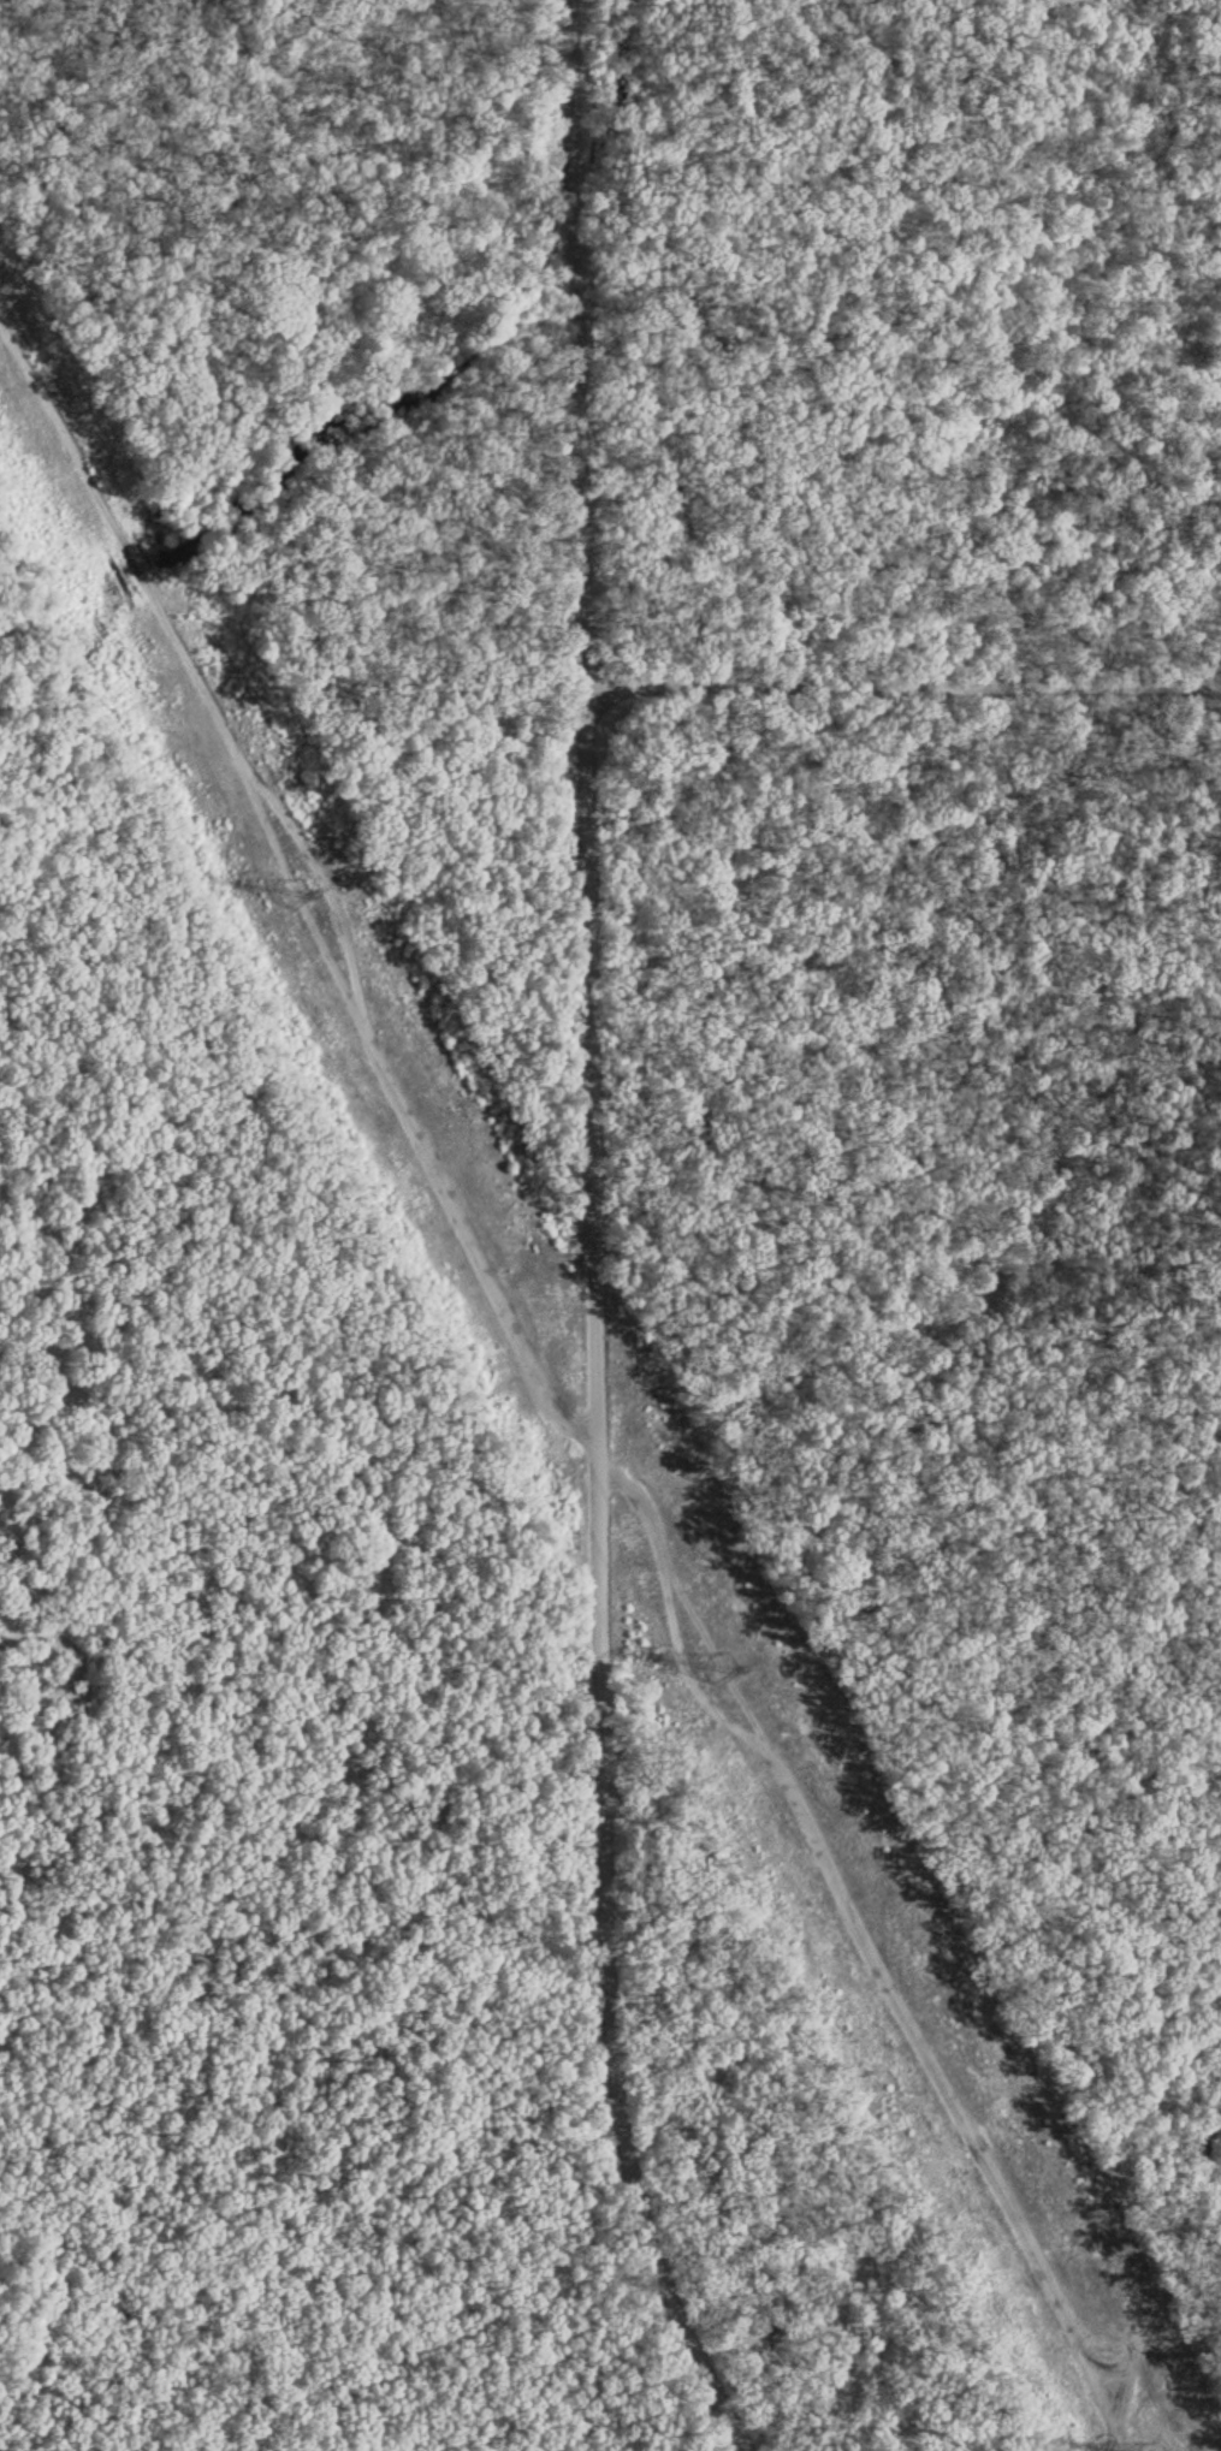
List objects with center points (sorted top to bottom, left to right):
road: (903, 684)
power tower: (291, 892)
road: (595, 1239)
power tower: (721, 1668)

